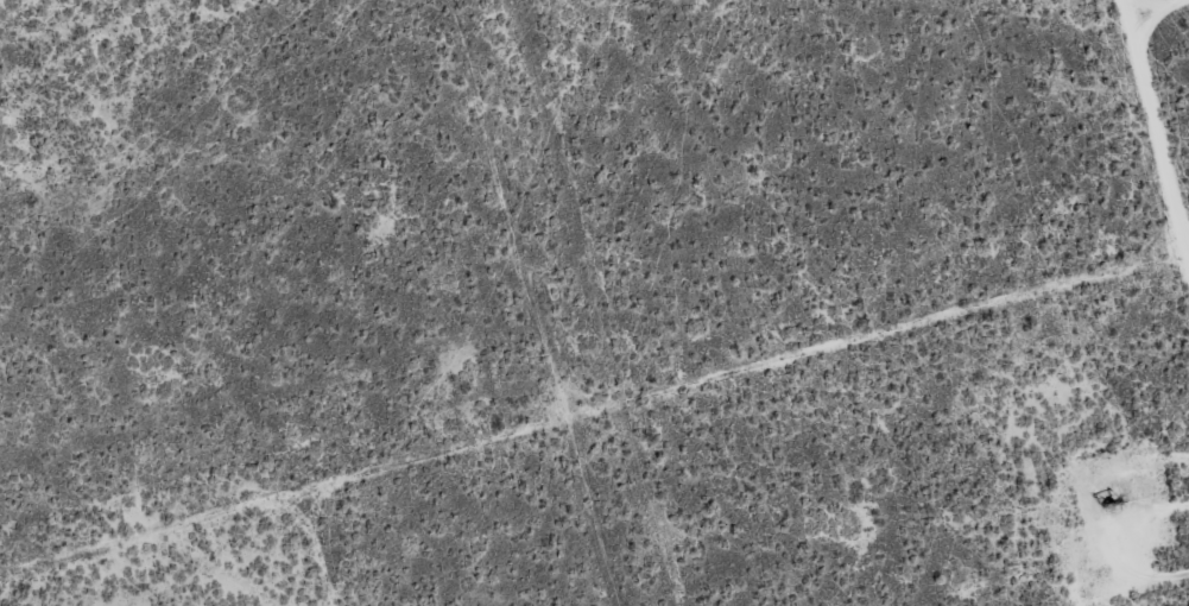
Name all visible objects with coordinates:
road: (1165, 82)

